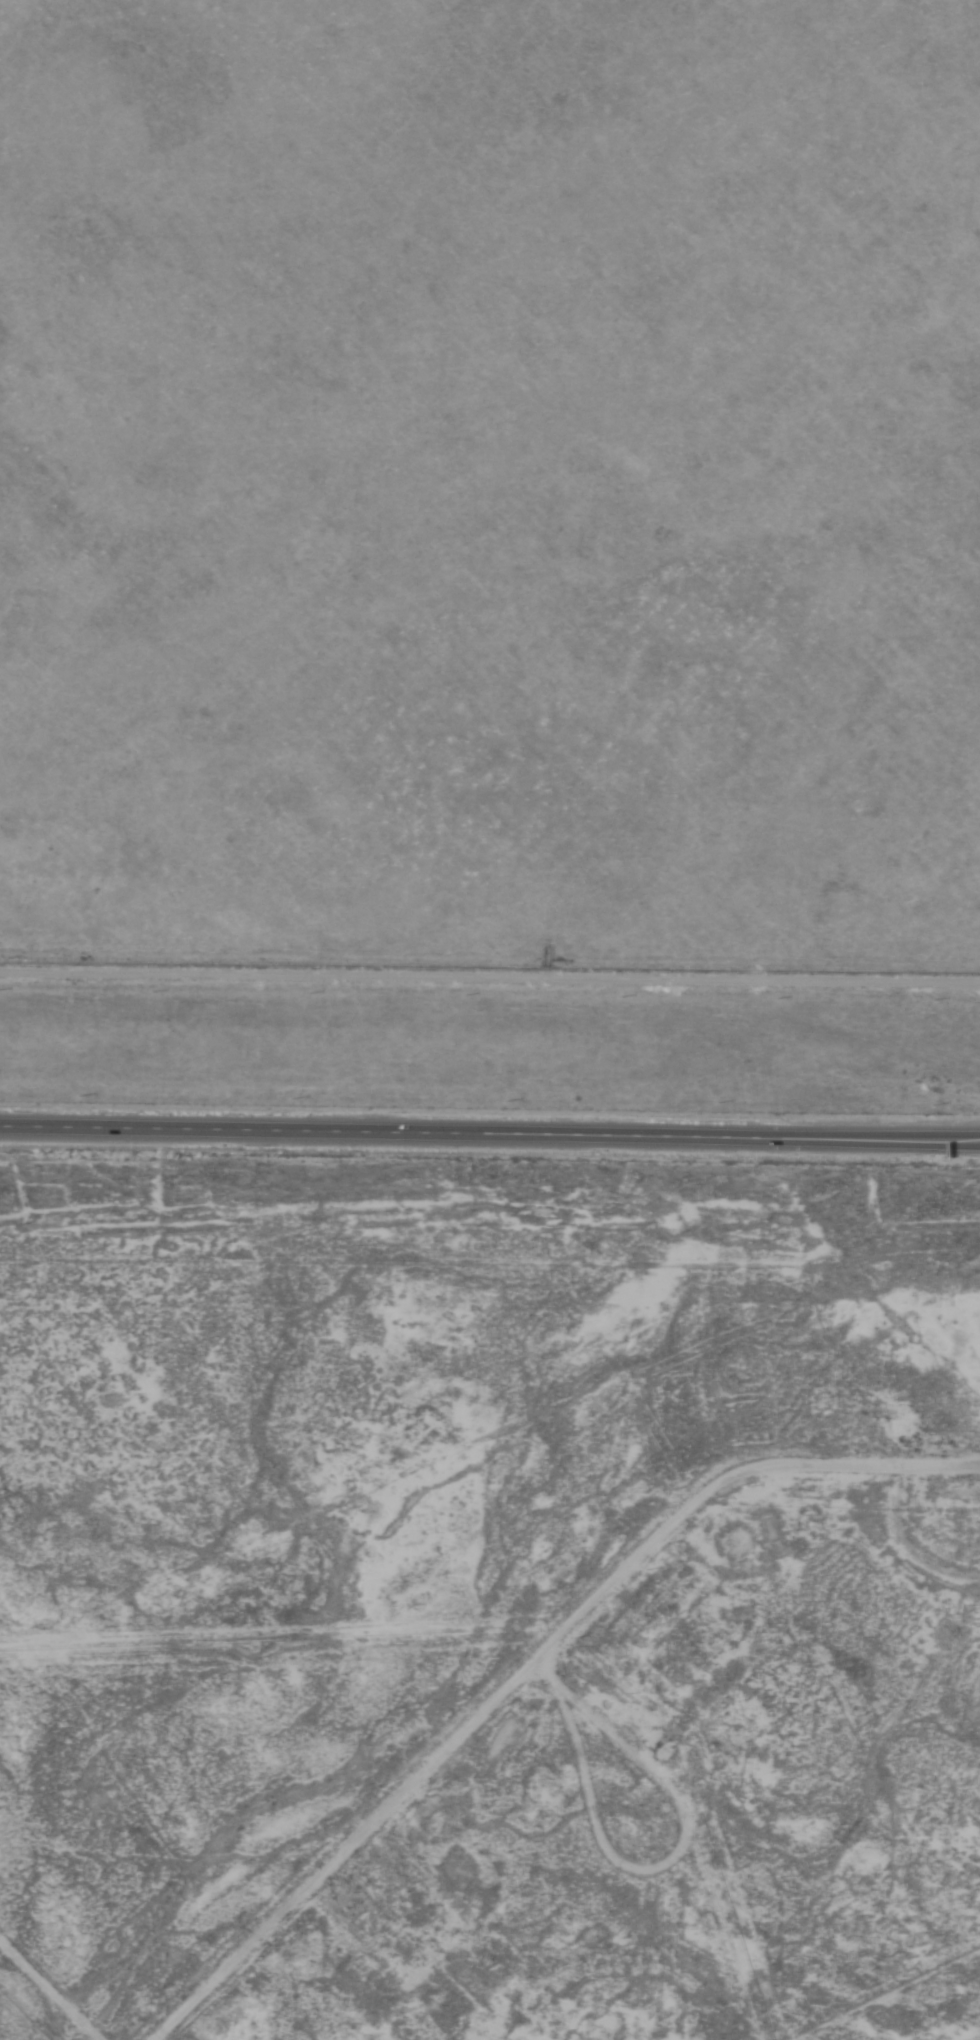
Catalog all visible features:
road: (490, 982)
road: (490, 1131)
road: (716, 1713)
road: (580, 1730)
road: (821, 1835)
road: (45, 1992)

